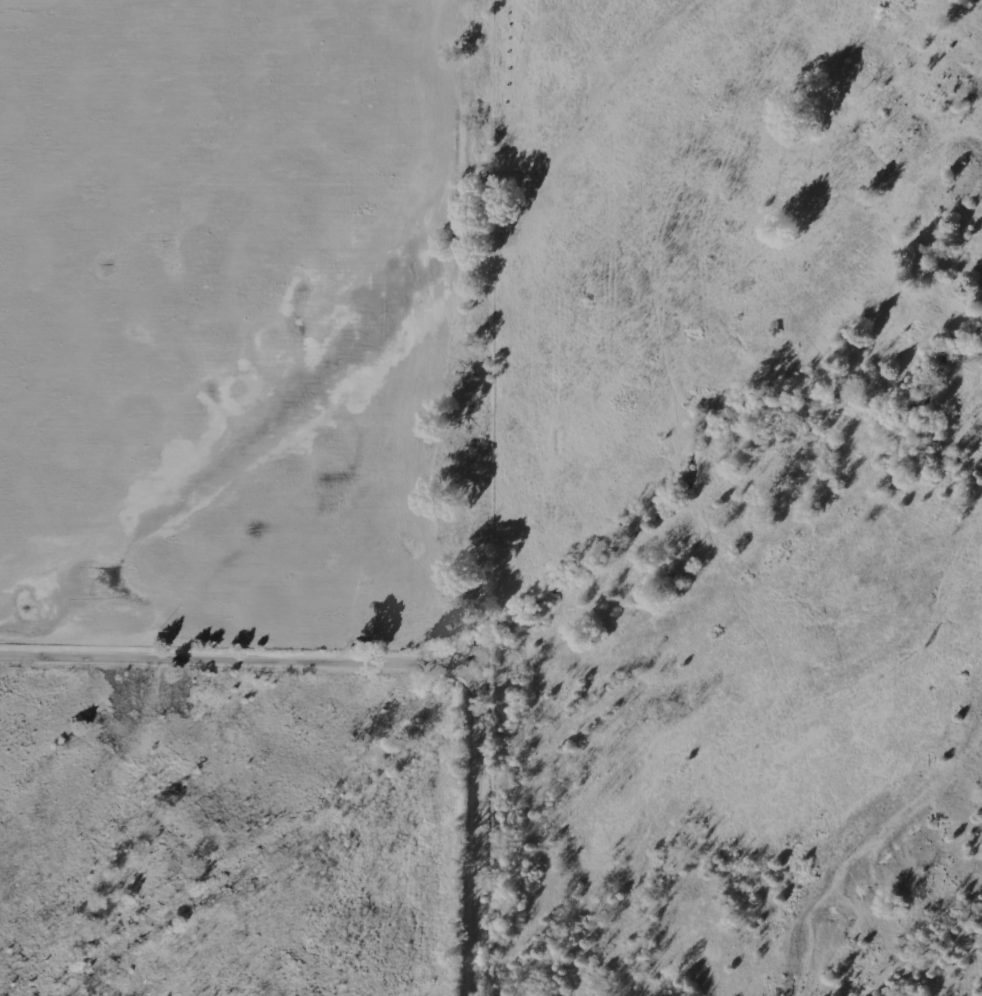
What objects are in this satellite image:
road: (400, 665)

